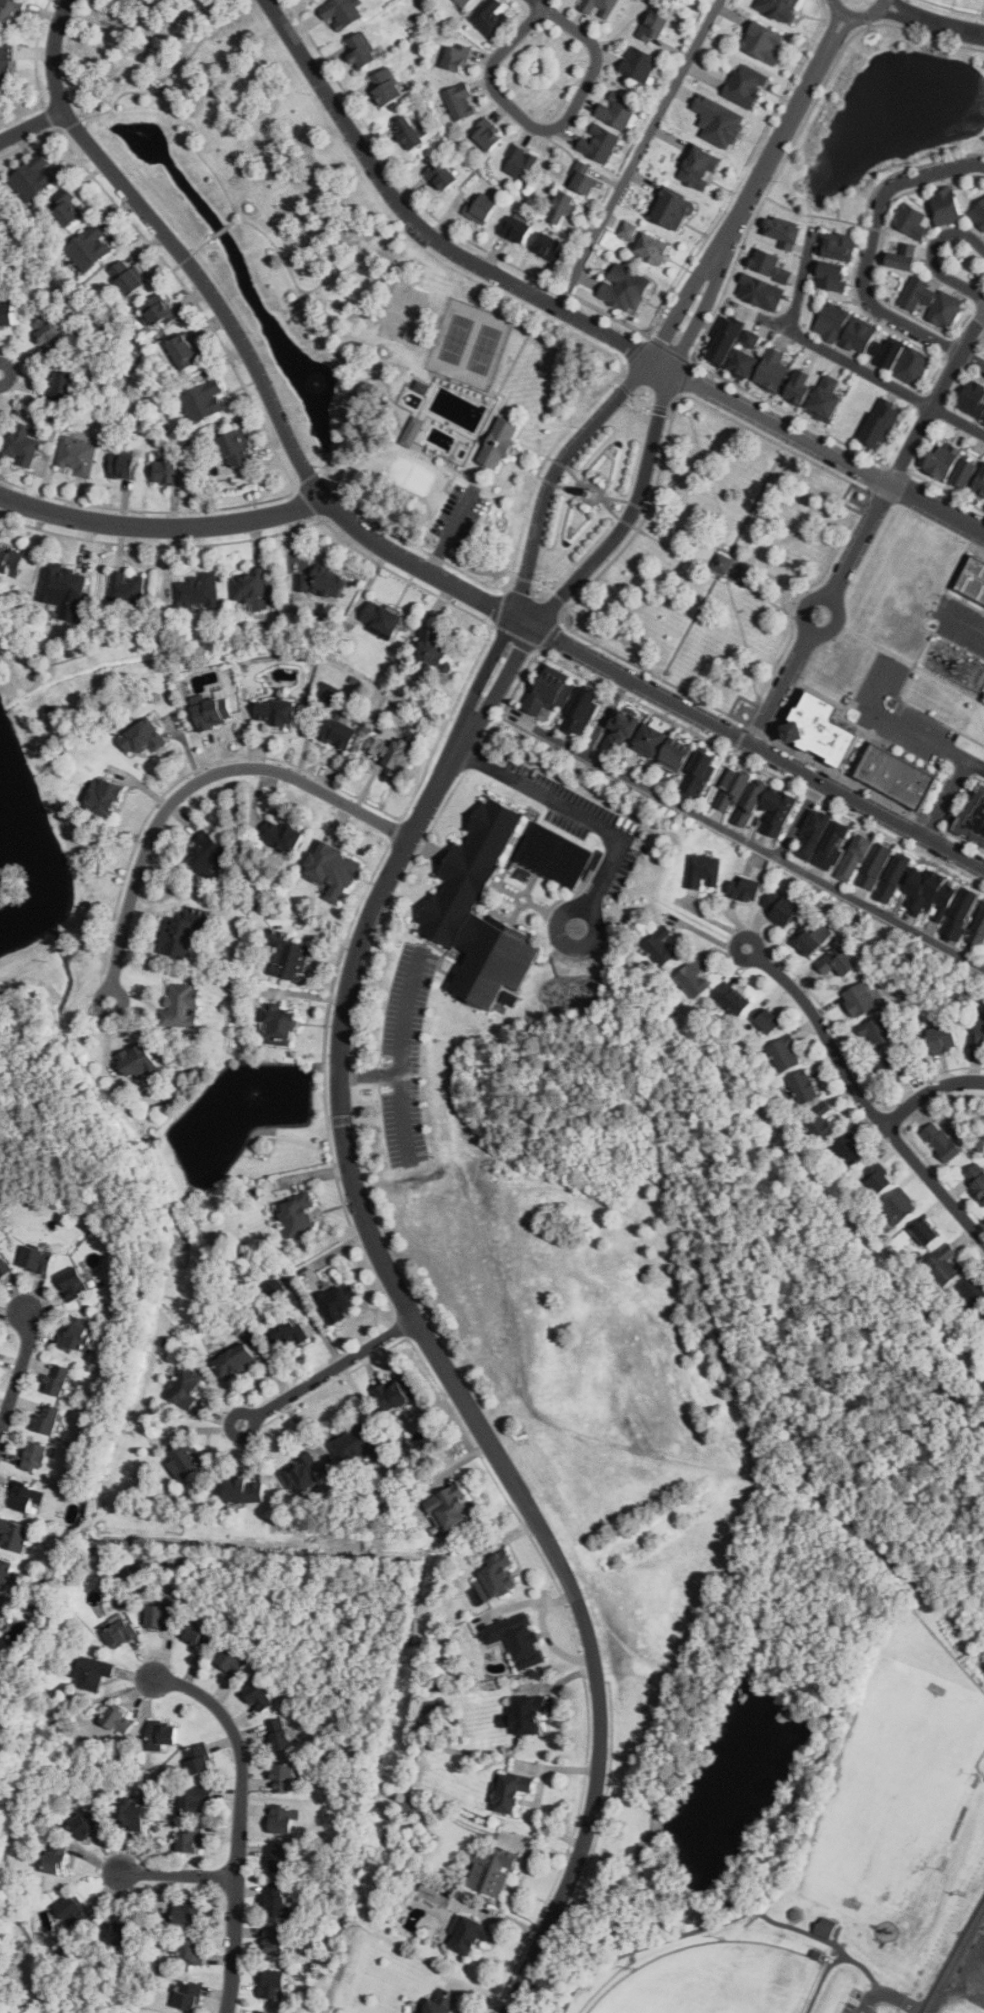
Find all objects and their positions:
building: (464, 3)
road: (542, 5)
building: (600, 8)
building: (779, 8)
building: (342, 11)
building: (11, 12)
building: (491, 16)
road: (858, 19)
road: (932, 23)
building: (654, 26)
building: (765, 42)
building: (361, 50)
building: (459, 55)
building: (6, 62)
building: (639, 63)
road: (156, 76)
road: (156, 79)
road: (150, 81)
road: (162, 81)
building: (746, 85)
road: (156, 86)
building: (387, 86)
road: (155, 92)
building: (460, 101)
road: (179, 102)
building: (617, 109)
road: (30, 121)
building: (720, 121)
road: (790, 126)
road: (548, 131)
building: (409, 132)
building: (488, 134)
fountain: (138, 136)
building: (599, 142)
road: (638, 154)
building: (520, 162)
building: (700, 167)
building: (442, 176)
building: (33, 177)
building: (584, 177)
park: (259, 199)
building: (947, 205)
building: (563, 206)
building: (67, 207)
building: (481, 209)
building: (674, 209)
building: (1, 210)
building: (979, 213)
road: (232, 220)
building: (912, 221)
building: (516, 228)
road: (219, 230)
building: (785, 231)
building: (983, 239)
building: (646, 243)
building: (549, 245)
building: (839, 245)
road: (197, 247)
building: (91, 249)
road: (310, 250)
road: (871, 250)
road: (283, 254)
road: (931, 256)
building: (902, 257)
road: (359, 262)
building: (773, 264)
building: (833, 275)
building: (127, 277)
road: (320, 279)
building: (625, 287)
road: (302, 288)
building: (760, 291)
building: (933, 301)
park: (403, 310)
building: (158, 311)
building: (7, 314)
road: (579, 318)
building: (833, 321)
road: (316, 328)
building: (49, 334)
building: (860, 335)
road: (972, 336)
building: (724, 339)
building: (744, 339)
building: (753, 339)
park: (471, 340)
building: (889, 351)
building: (184, 352)
road: (840, 359)
road: (972, 360)
building: (745, 362)
building: (914, 364)
building: (774, 371)
fountain: (313, 379)
building: (60, 385)
building: (420, 385)
building: (801, 387)
building: (827, 399)
building: (973, 399)
building: (203, 401)
building: (983, 419)
building: (882, 423)
road: (340, 425)
building: (411, 429)
building: (500, 441)
building: (21, 444)
building: (235, 449)
building: (77, 455)
building: (945, 459)
building: (123, 466)
park: (411, 468)
road: (560, 470)
building: (168, 472)
building: (966, 473)
road: (895, 476)
building: (981, 484)
road: (632, 509)
road: (162, 528)
road: (450, 531)
road: (391, 552)
building: (11, 561)
building: (717, 563)
park: (718, 563)
building: (975, 574)
building: (65, 583)
building: (324, 583)
building: (127, 587)
building: (251, 587)
building: (197, 591)
road: (839, 606)
building: (385, 619)
road: (963, 622)
building: (432, 646)
road: (911, 662)
road: (781, 689)
building: (551, 691)
building: (581, 711)
building: (213, 712)
building: (276, 712)
road: (898, 725)
building: (819, 728)
building: (621, 731)
building: (339, 732)
building: (143, 737)
building: (652, 740)
building: (393, 750)
building: (678, 755)
building: (897, 773)
building: (700, 774)
road: (196, 782)
building: (734, 790)
road: (951, 791)
building: (104, 797)
building: (752, 803)
road: (569, 805)
building: (780, 810)
building: (974, 816)
road: (797, 819)
building: (814, 834)
building: (282, 836)
road: (749, 843)
building: (834, 845)
building: (207, 854)
building: (552, 854)
building: (856, 858)
building: (877, 866)
building: (703, 871)
building: (334, 872)
building: (893, 878)
road: (659, 885)
building: (746, 889)
road: (522, 893)
road: (520, 894)
building: (931, 894)
building: (450, 902)
road: (561, 905)
building: (781, 908)
building: (962, 914)
road: (699, 921)
building: (978, 931)
building: (183, 932)
building: (815, 938)
building: (661, 946)
building: (289, 955)
building: (839, 961)
building: (694, 976)
road: (123, 996)
building: (733, 998)
building: (860, 1000)
building: (183, 1002)
building: (759, 1018)
building: (770, 1021)
building: (280, 1025)
building: (878, 1031)
building: (978, 1035)
building: (944, 1039)
building: (784, 1053)
road: (401, 1058)
building: (138, 1062)
building: (891, 1068)
road: (369, 1075)
building: (804, 1086)
fountain: (253, 1090)
road: (929, 1091)
road: (861, 1093)
building: (819, 1121)
building: (942, 1141)
building: (850, 1148)
building: (879, 1178)
building: (977, 1180)
building: (900, 1206)
building: (298, 1215)
building: (927, 1232)
building: (38, 1259)
building: (4, 1264)
building: (948, 1264)
building: (74, 1283)
building: (276, 1289)
building: (972, 1290)
building: (339, 1301)
building: (982, 1318)
building: (286, 1333)
building: (79, 1334)
building: (236, 1359)
road: (326, 1371)
road: (18, 1376)
building: (57, 1379)
road: (448, 1381)
building: (187, 1386)
building: (397, 1392)
building: (48, 1418)
building: (357, 1442)
building: (35, 1456)
building: (187, 1460)
building: (303, 1475)
building: (246, 1490)
building: (26, 1495)
building: (450, 1507)
building: (14, 1535)
building: (5, 1570)
building: (497, 1576)
building: (3, 1613)
building: (162, 1615)
building: (120, 1631)
building: (187, 1632)
building: (199, 1635)
building: (517, 1639)
building: (233, 1662)
building: (92, 1672)
road: (601, 1682)
building: (260, 1695)
building: (431, 1707)
building: (525, 1714)
building: (118, 1719)
building: (163, 1733)
building: (280, 1734)
building: (199, 1758)
building: (283, 1778)
building: (512, 1790)
park: (893, 1796)
building: (193, 1800)
park: (795, 1803)
building: (130, 1815)
road: (240, 1817)
building: (283, 1819)
building: (88, 1822)
building: (75, 1826)
building: (190, 1839)
road: (591, 1851)
building: (57, 1856)
building: (277, 1859)
building: (494, 1870)
road: (177, 1874)
building: (278, 1901)
building: (72, 1910)
building: (188, 1912)
road: (981, 1923)
building: (826, 1927)
road: (697, 1930)
building: (469, 1933)
building: (120, 1934)
building: (276, 1941)
building: (192, 1950)
road: (535, 1957)
road: (956, 1961)
road: (867, 1973)
road: (558, 1976)
road: (821, 1979)
park: (717, 1981)
building: (272, 1983)
building: (188, 1994)
road: (895, 1998)
building: (441, 2003)
parking lot: (857, 2007)
road: (863, 2008)
building: (264, 2011)

